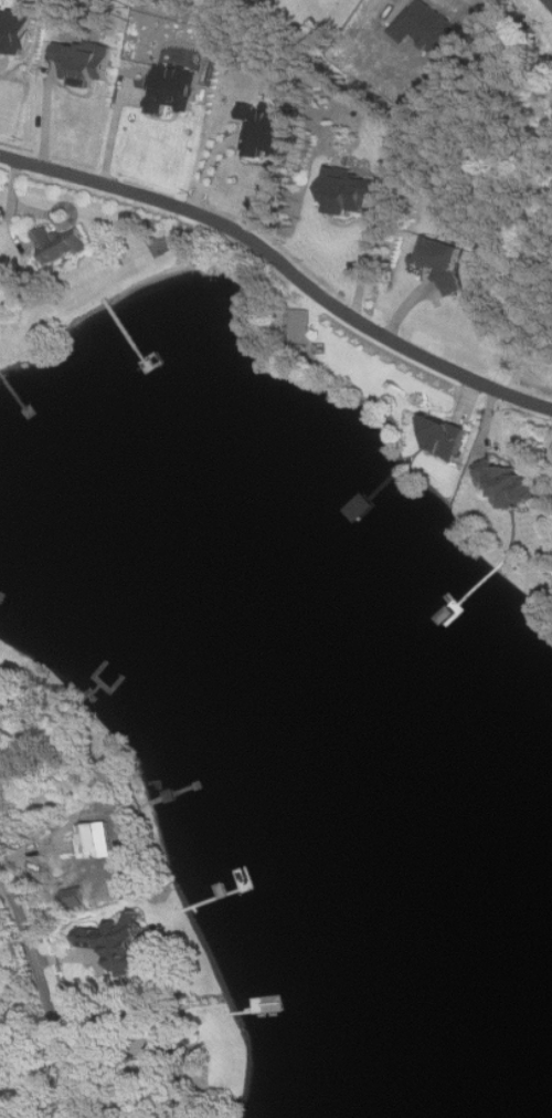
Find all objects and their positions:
building: (15, 29)
building: (85, 59)
building: (173, 86)
building: (267, 126)
building: (350, 188)
building: (61, 244)
building: (443, 258)
road: (283, 263)
road: (368, 263)
building: (453, 436)
building: (511, 484)
building: (363, 508)
building: (4, 698)
building: (172, 796)
building: (99, 850)
building: (76, 898)
building: (116, 917)
building: (120, 942)
road: (47, 982)
building: (163, 1054)
building: (161, 1117)

